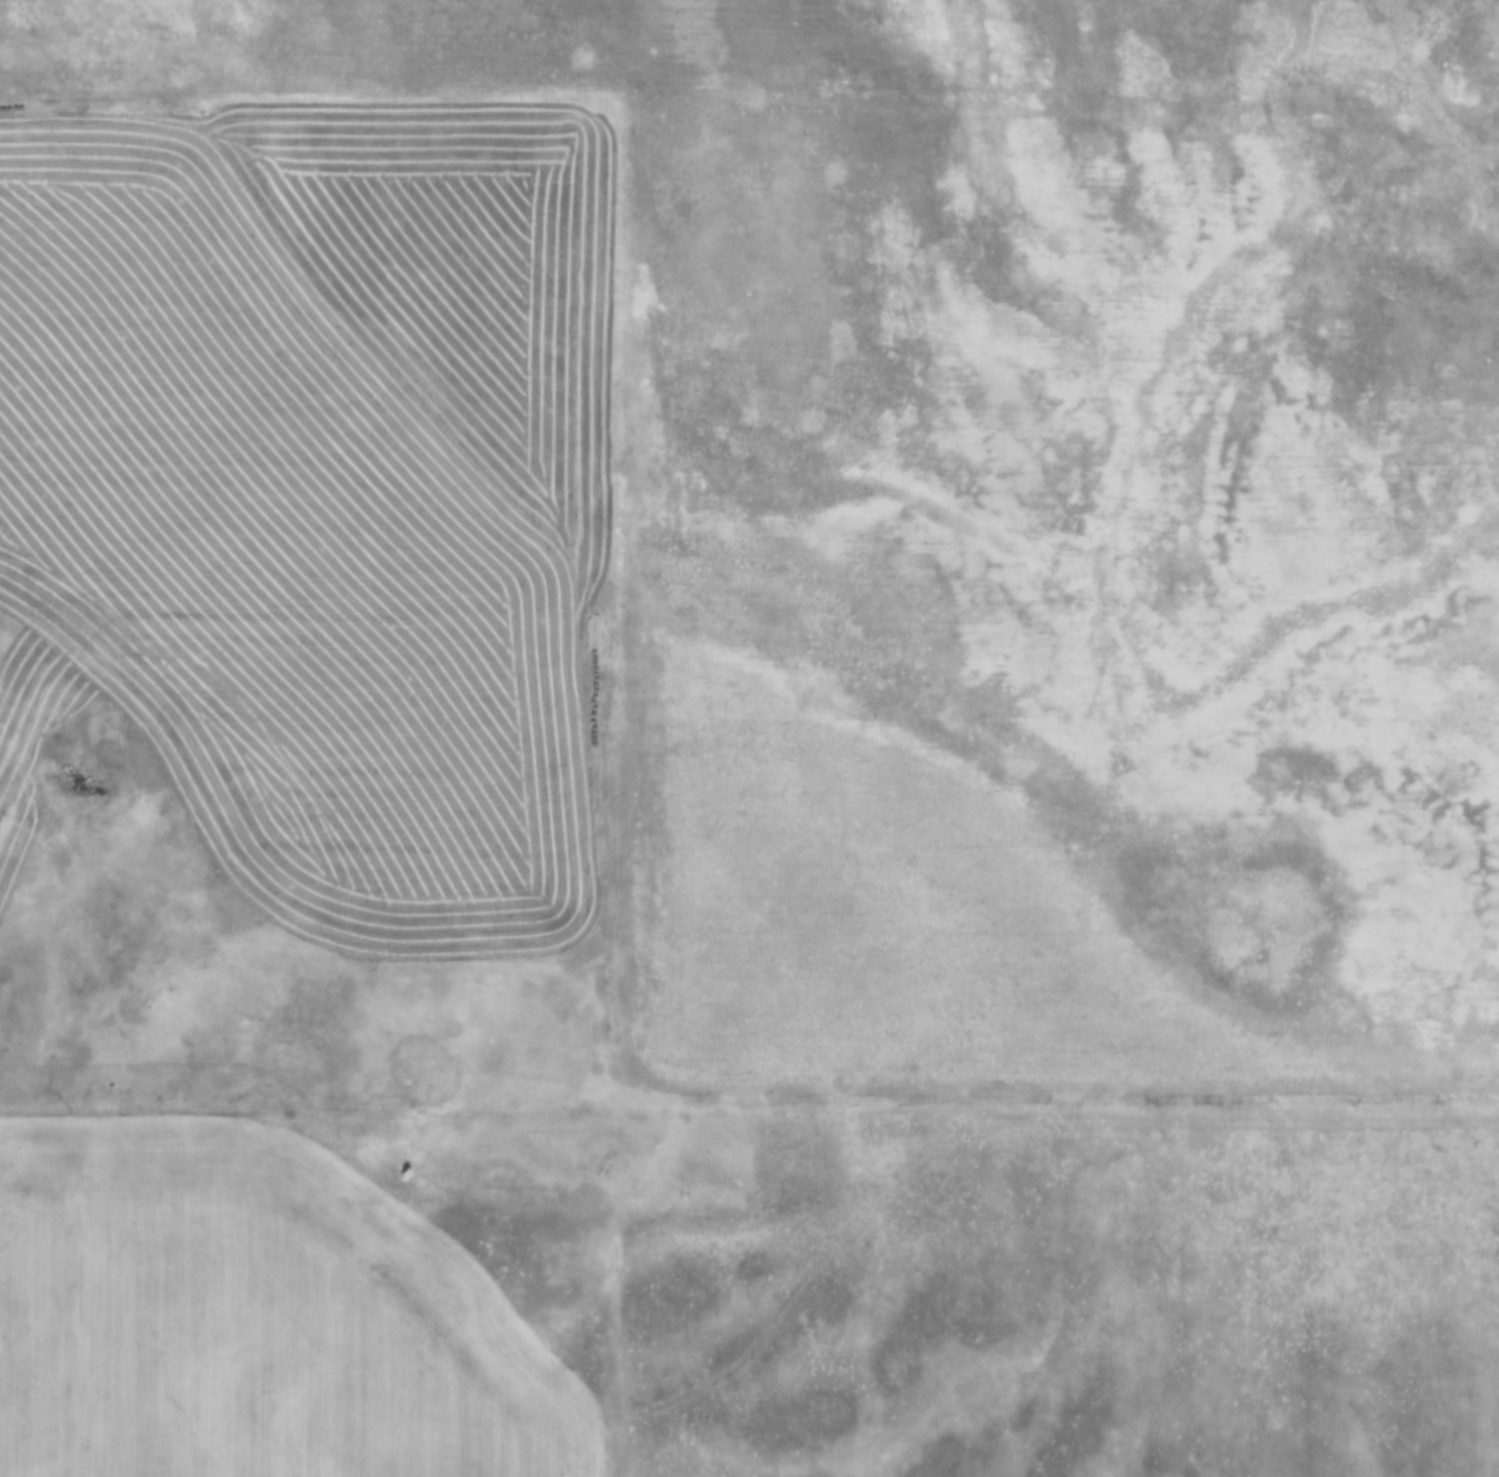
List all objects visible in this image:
road: (749, 1110)

